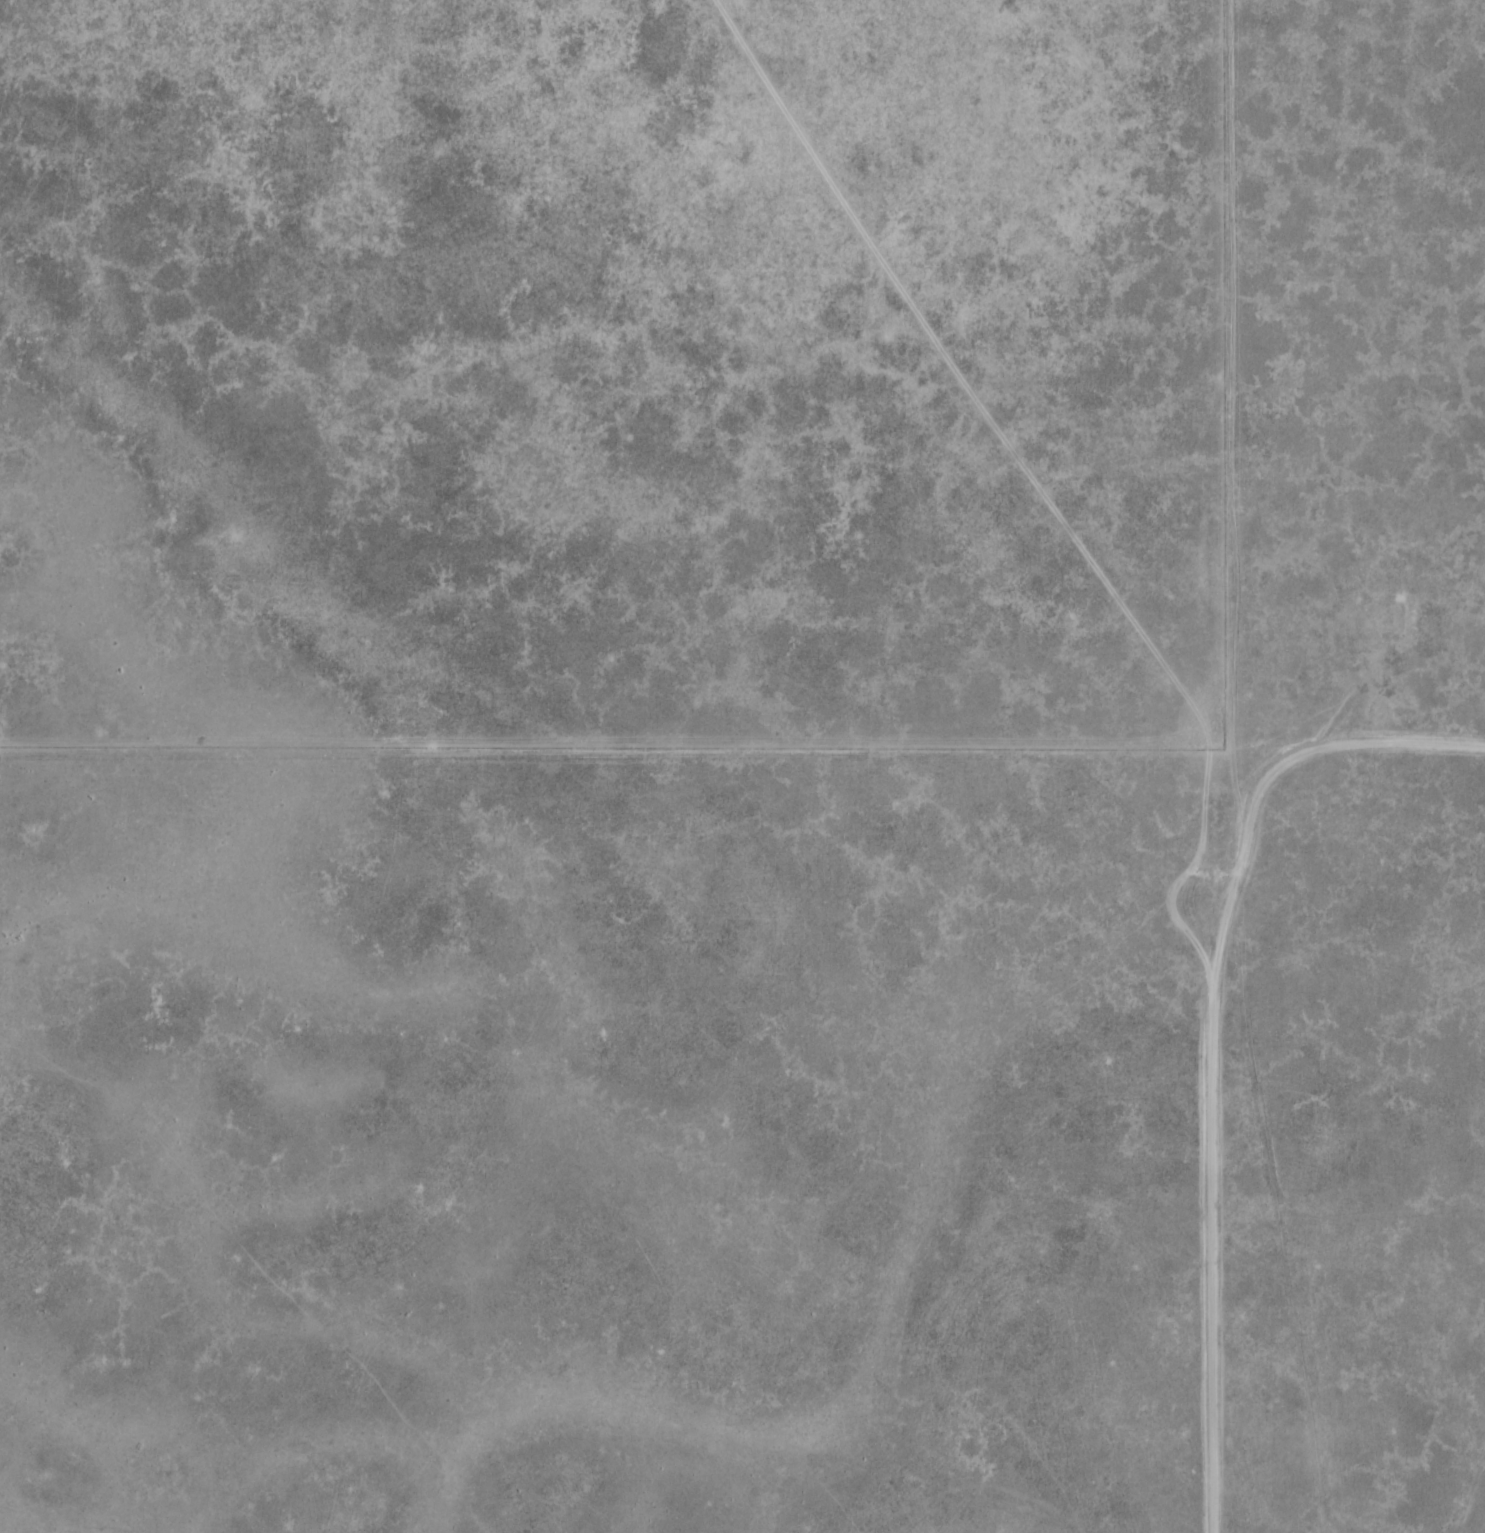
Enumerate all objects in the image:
road: (1334, 723)
road: (1230, 1171)

